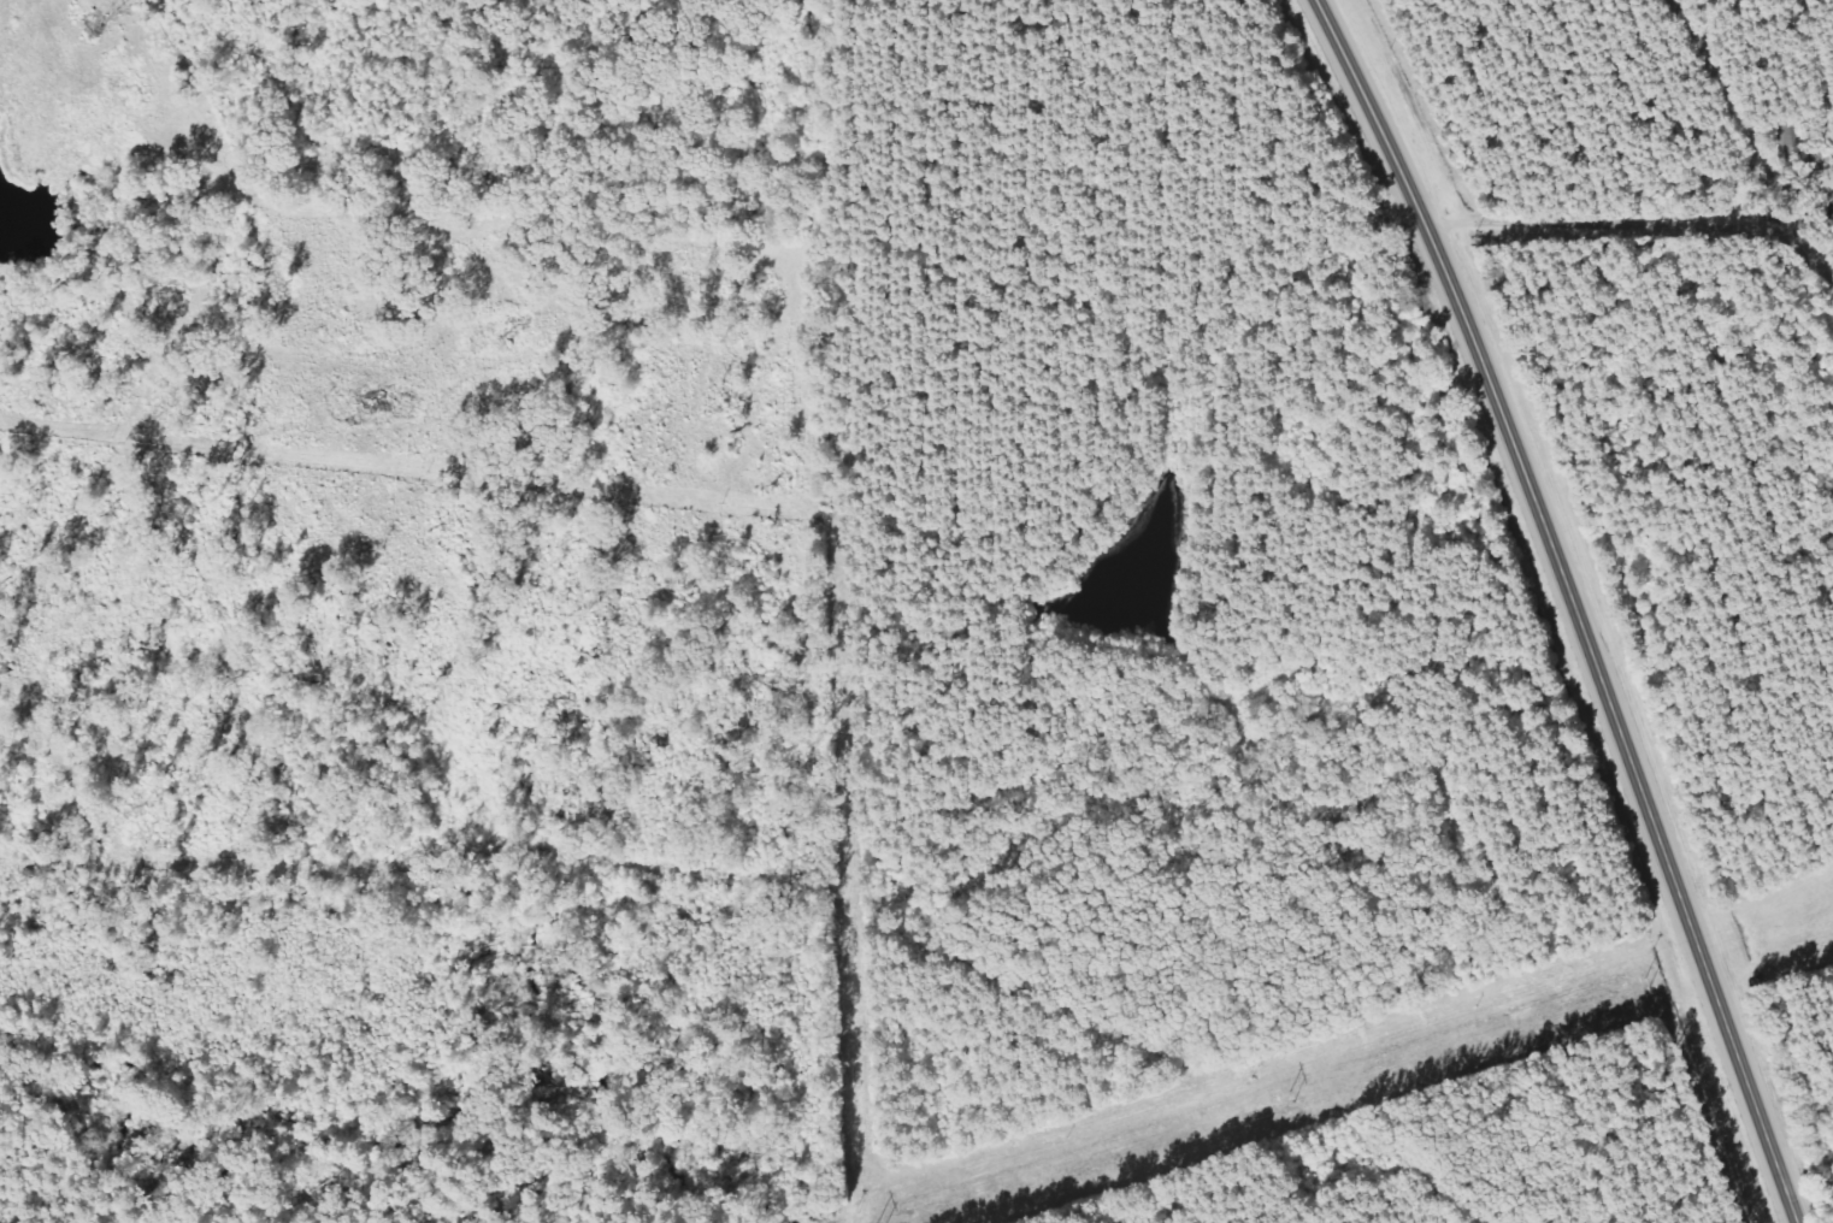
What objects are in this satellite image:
road: (1639, 240)
road: (1569, 605)
road: (1825, 1215)

